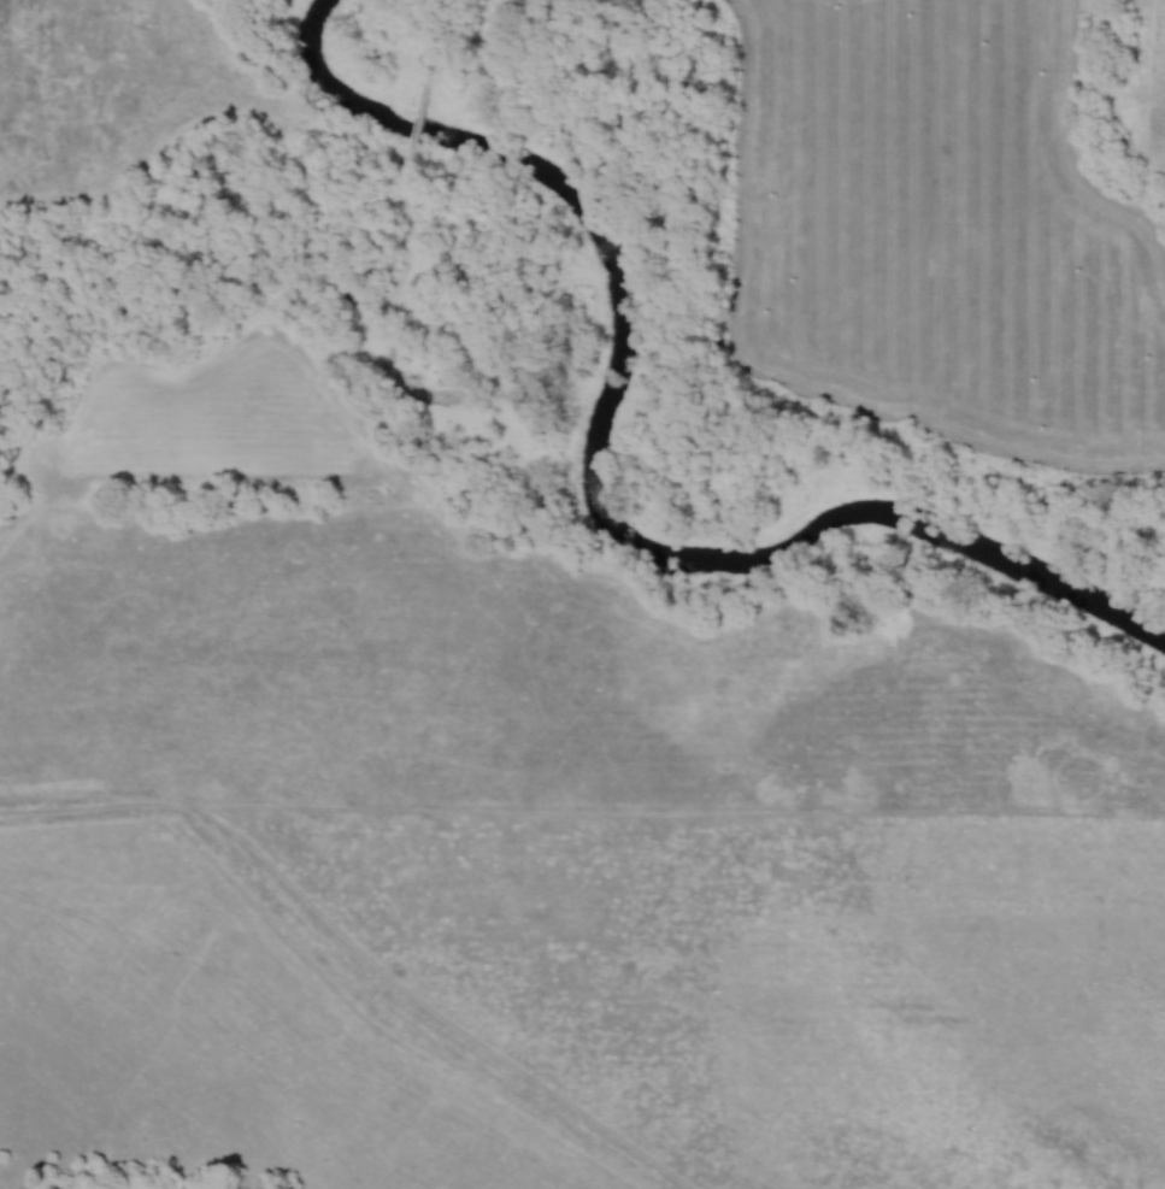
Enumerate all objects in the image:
river: (592, 477)

